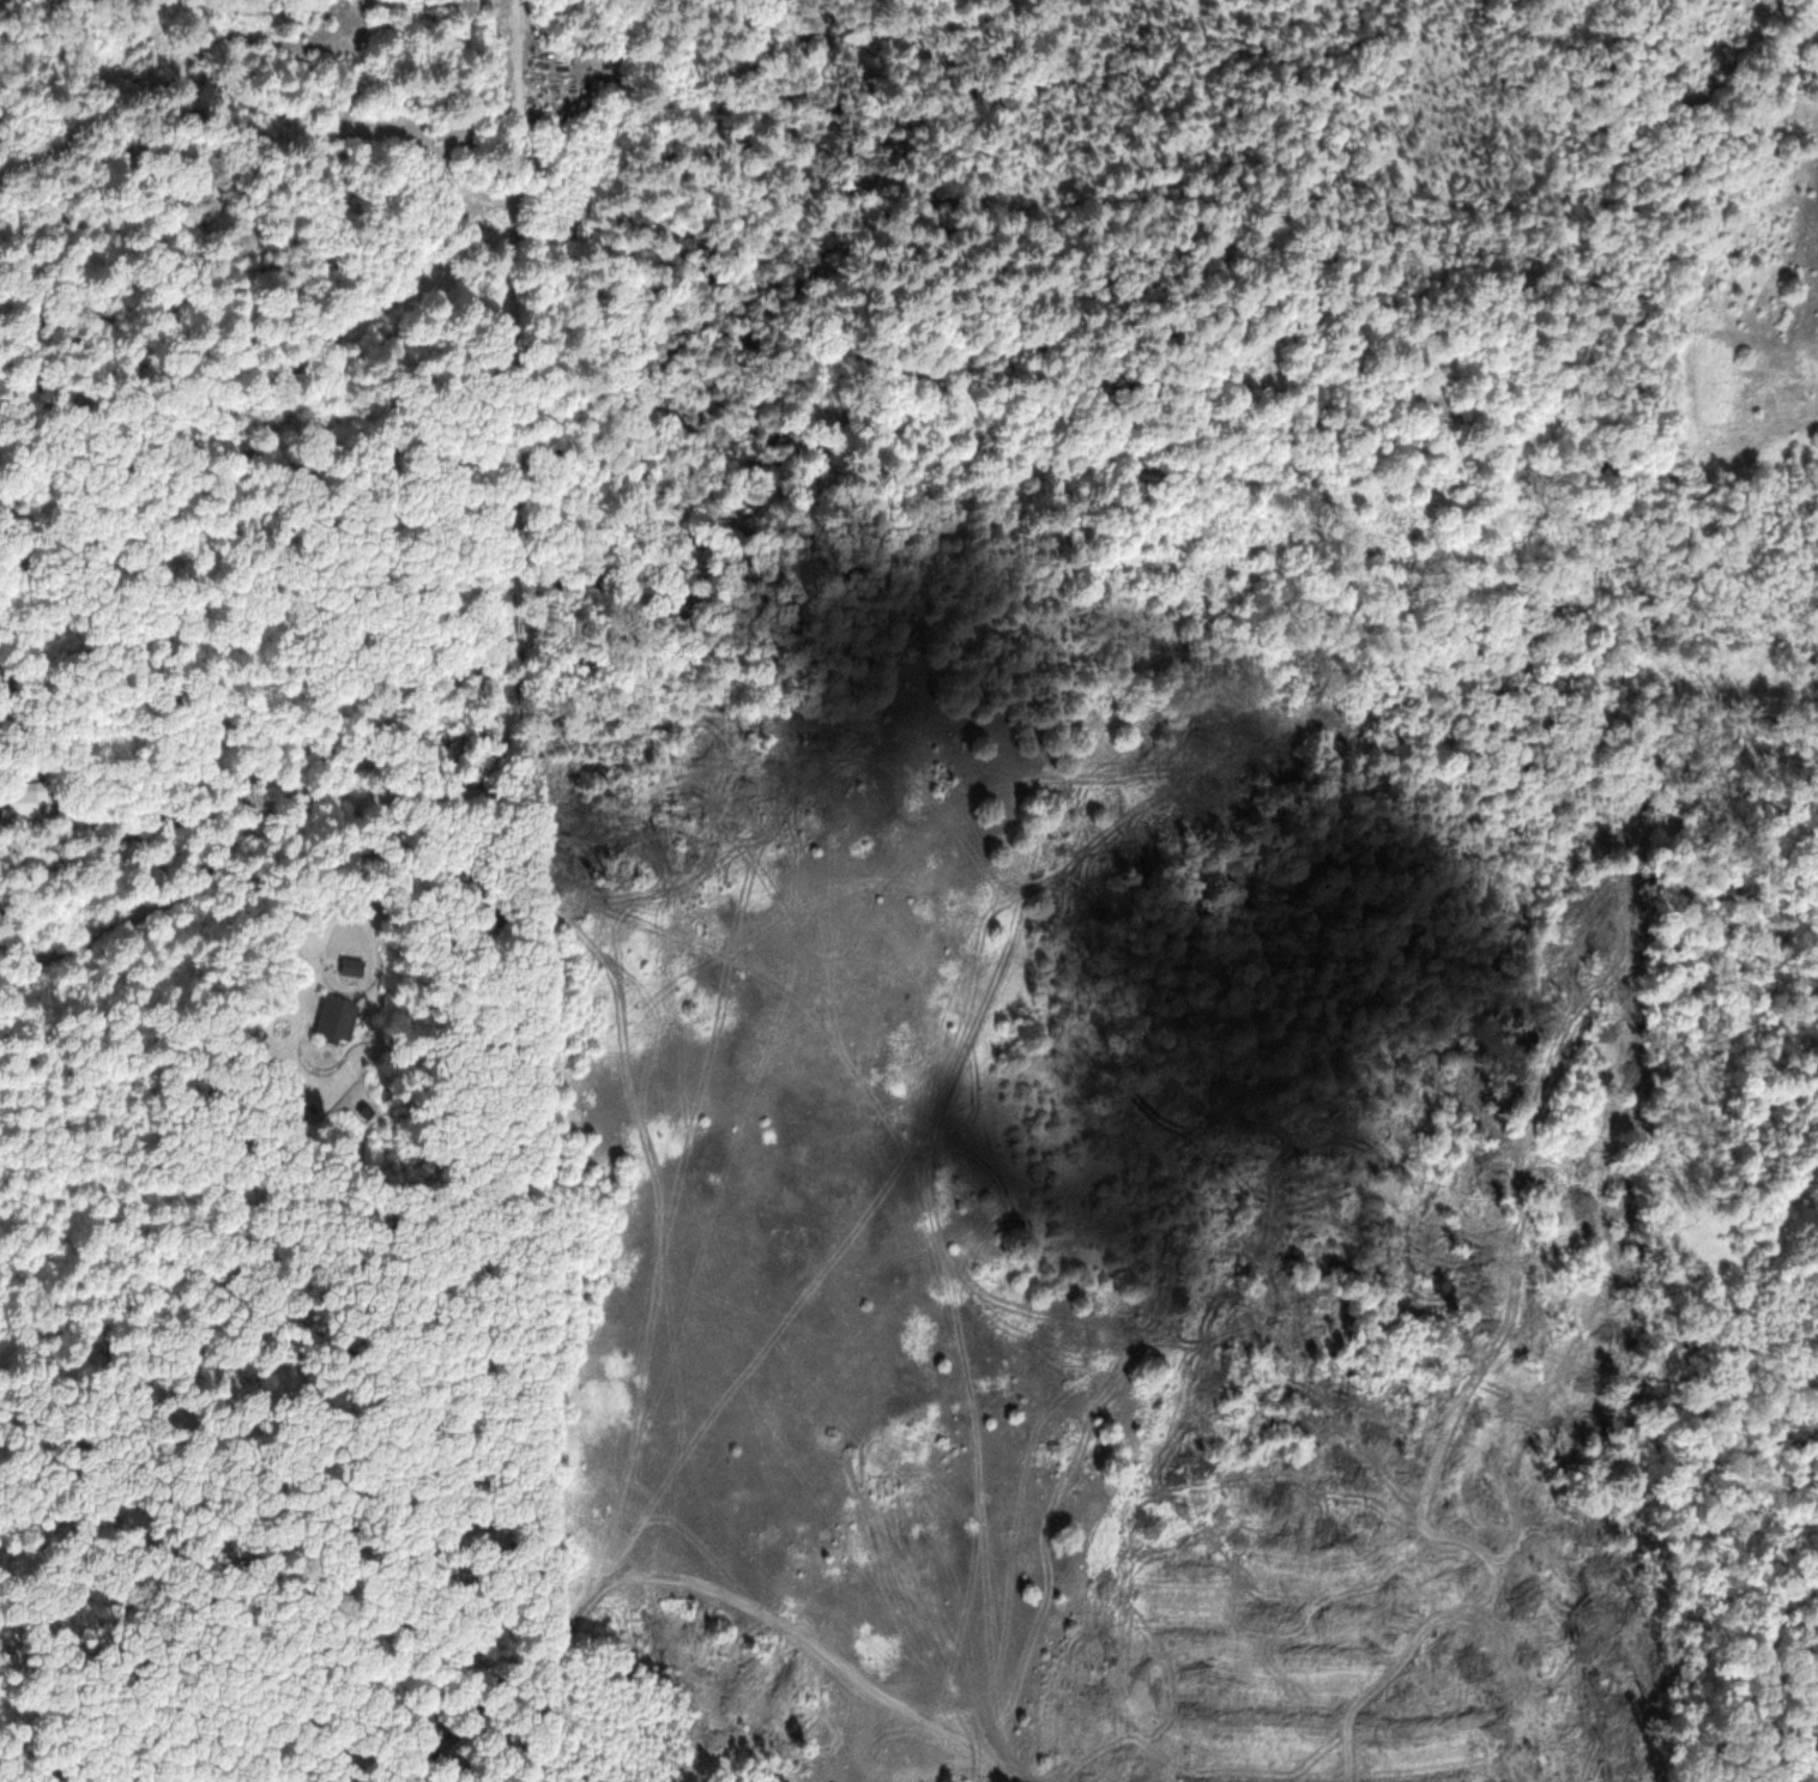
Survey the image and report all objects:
building: (24, 797)
road: (223, 844)

